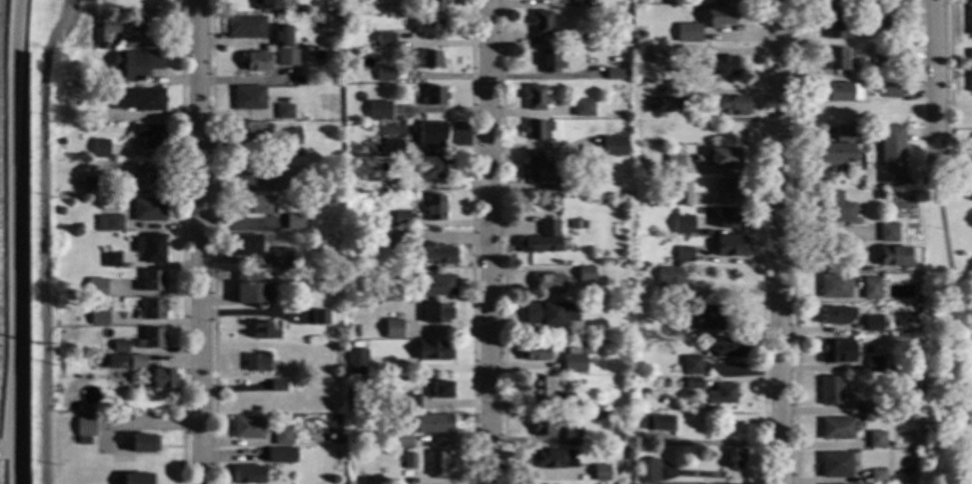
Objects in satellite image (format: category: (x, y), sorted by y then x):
building: (579, 3)
building: (835, 4)
building: (267, 5)
building: (434, 6)
building: (718, 17)
building: (318, 19)
building: (969, 19)
building: (540, 23)
building: (143, 25)
building: (887, 25)
building: (245, 27)
building: (835, 27)
building: (427, 28)
building: (104, 29)
building: (687, 33)
building: (642, 34)
building: (283, 37)
building: (579, 38)
building: (385, 40)
building: (68, 41)
building: (128, 41)
building: (656, 55)
building: (287, 58)
building: (834, 59)
building: (428, 60)
building: (884, 60)
building: (255, 61)
building: (549, 61)
building: (135, 63)
building: (720, 66)
building: (969, 70)
building: (624, 73)
building: (369, 74)
building: (386, 74)
building: (613, 74)
road: (946, 82)
road: (935, 83)
building: (890, 91)
building: (842, 92)
building: (103, 94)
building: (433, 96)
building: (249, 98)
building: (534, 98)
building: (136, 99)
building: (659, 105)
building: (731, 107)
building: (582, 108)
building: (284, 112)
building: (381, 112)
building: (296, 116)
building: (537, 130)
building: (242, 131)
building: (843, 133)
building: (149, 135)
building: (431, 135)
building: (292, 138)
building: (60, 142)
building: (382, 145)
building: (613, 146)
building: (100, 148)
building: (393, 148)
building: (382, 151)
building: (296, 153)
building: (835, 153)
building: (890, 155)
building: (723, 158)
building: (348, 163)
building: (673, 164)
road: (954, 165)
building: (646, 166)
building: (432, 168)
building: (534, 171)
building: (154, 175)
building: (253, 175)
building: (320, 175)
building: (305, 180)
building: (88, 183)
building: (565, 184)
building: (385, 185)
building: (729, 187)
road: (952, 188)
building: (681, 195)
road: (950, 195)
building: (879, 196)
building: (316, 203)
building: (254, 205)
building: (434, 208)
building: (835, 208)
building: (148, 209)
building: (60, 210)
building: (396, 218)
building: (727, 219)
building: (294, 222)
building: (108, 223)
building: (574, 225)
building: (684, 226)
building: (58, 229)
building: (887, 233)
road: (42, 238)
building: (541, 240)
road: (12, 241)
road: (199, 242)
building: (399, 242)
road: (490, 242)
road: (777, 242)
road: (790, 242)
building: (244, 246)
building: (731, 246)
building: (150, 248)
road: (950, 253)
building: (435, 254)
building: (684, 255)
building: (893, 257)
building: (282, 258)
building: (108, 260)
building: (355, 263)
building: (638, 269)
building: (584, 274)
building: (151, 281)
building: (669, 281)
building: (548, 284)
building: (436, 285)
building: (833, 286)
building: (97, 288)
building: (249, 288)
building: (870, 288)
building: (393, 294)
building: (915, 308)
building: (151, 310)
building: (435, 314)
building: (549, 314)
building: (835, 316)
building: (318, 317)
building: (98, 318)
building: (704, 318)
building: (872, 323)
park: (950, 328)
building: (391, 329)
building: (262, 331)
building: (674, 331)
building: (353, 336)
building: (150, 339)
building: (569, 341)
building: (608, 343)
power tower: (36, 344)
building: (119, 347)
building: (729, 347)
building: (73, 348)
building: (433, 351)
building: (836, 352)
building: (535, 353)
building: (256, 362)
building: (355, 362)
building: (573, 362)
building: (136, 363)
building: (874, 364)
building: (690, 365)
building: (339, 369)
building: (114, 378)
building: (160, 378)
building: (624, 383)
building: (682, 383)
building: (692, 383)
building: (276, 386)
building: (540, 388)
building: (440, 390)
building: (829, 391)
building: (720, 395)
building: (347, 399)
building: (564, 401)
building: (409, 404)
building: (873, 409)
building: (58, 423)
building: (658, 423)
building: (433, 424)
building: (541, 426)
building: (84, 427)
building: (247, 428)
building: (836, 429)
building: (281, 437)
building: (571, 437)
building: (400, 440)
building: (627, 440)
building: (875, 440)
building: (140, 444)
building: (280, 455)
building: (628, 455)
building: (733, 458)
building: (552, 459)
building: (409, 462)
building: (437, 465)
building: (834, 465)
building: (646, 471)
building: (600, 473)
building: (248, 475)
building: (876, 476)
building: (136, 479)
building: (348, 483)

